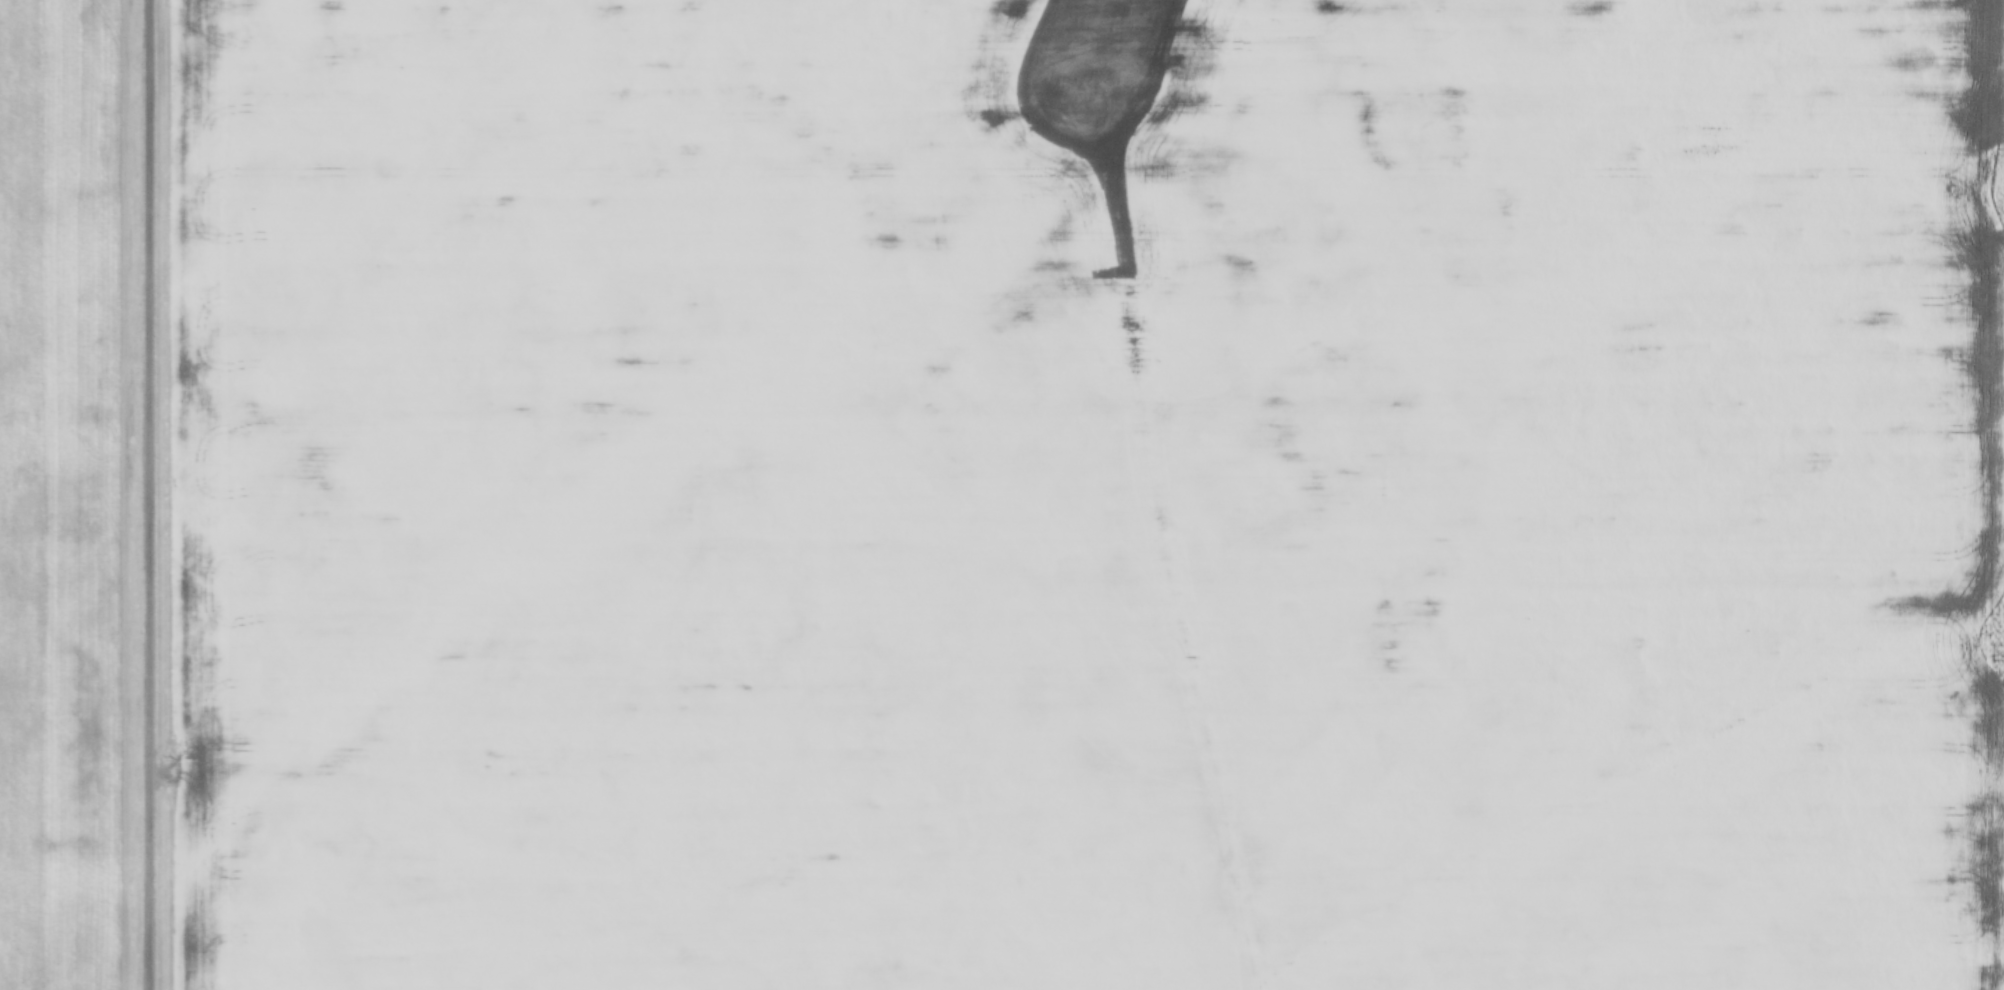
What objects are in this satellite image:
road: (138, 495)

